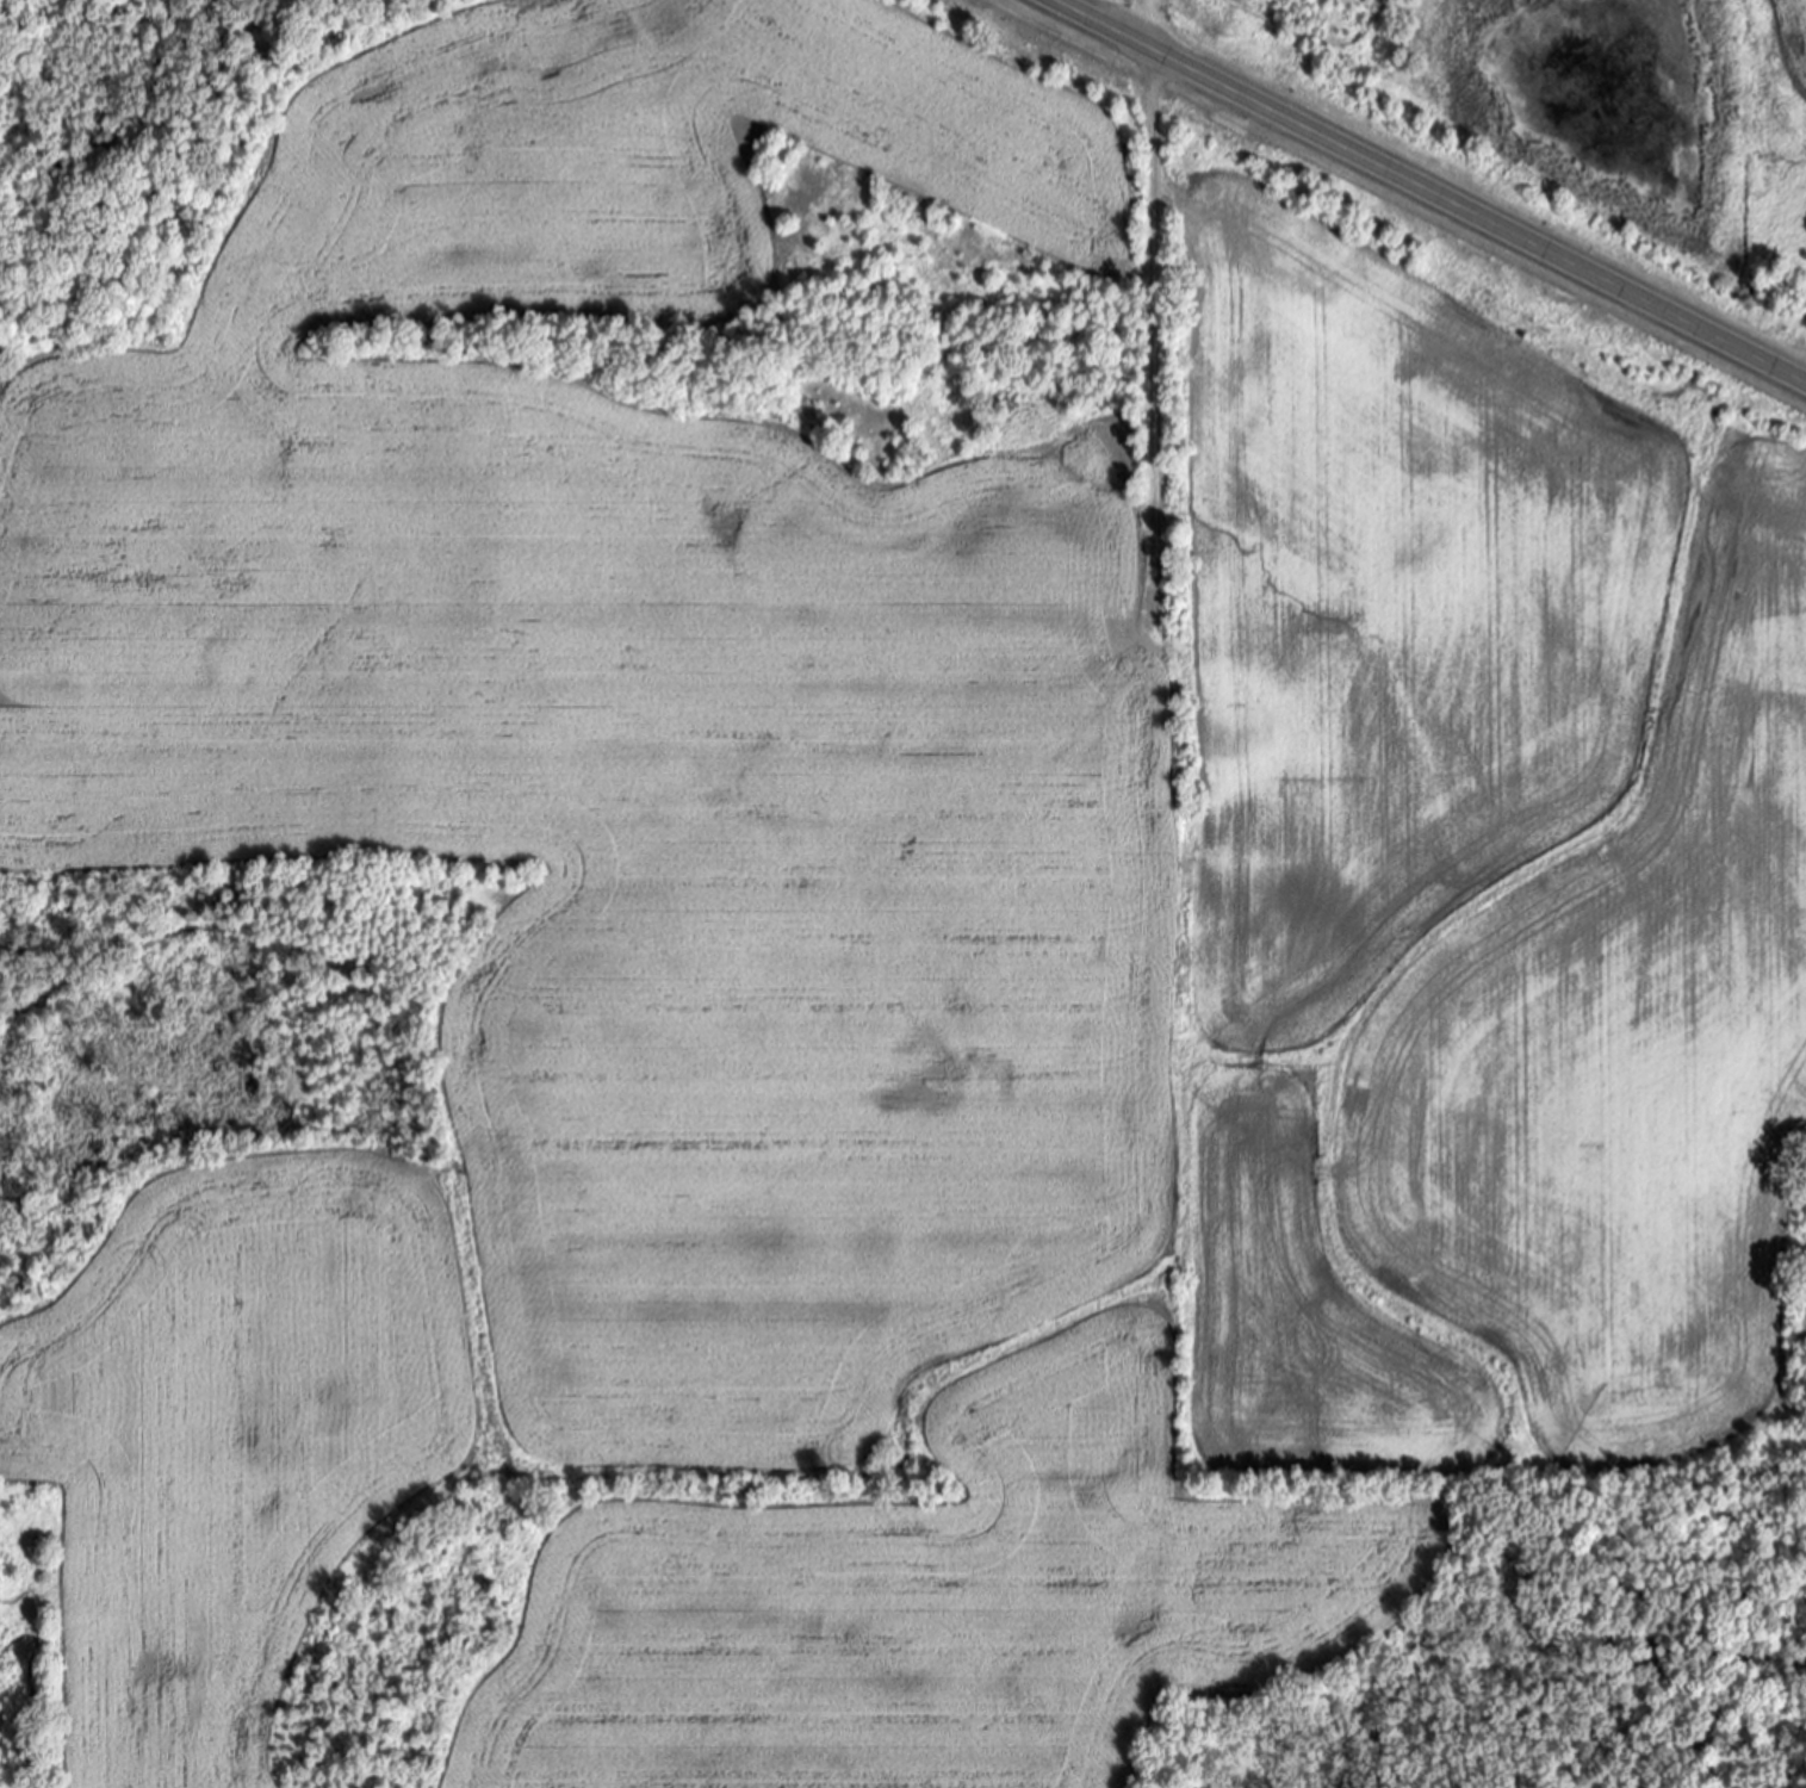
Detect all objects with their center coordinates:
road: (1143, 21)
road: (1429, 192)
road: (1154, 334)

